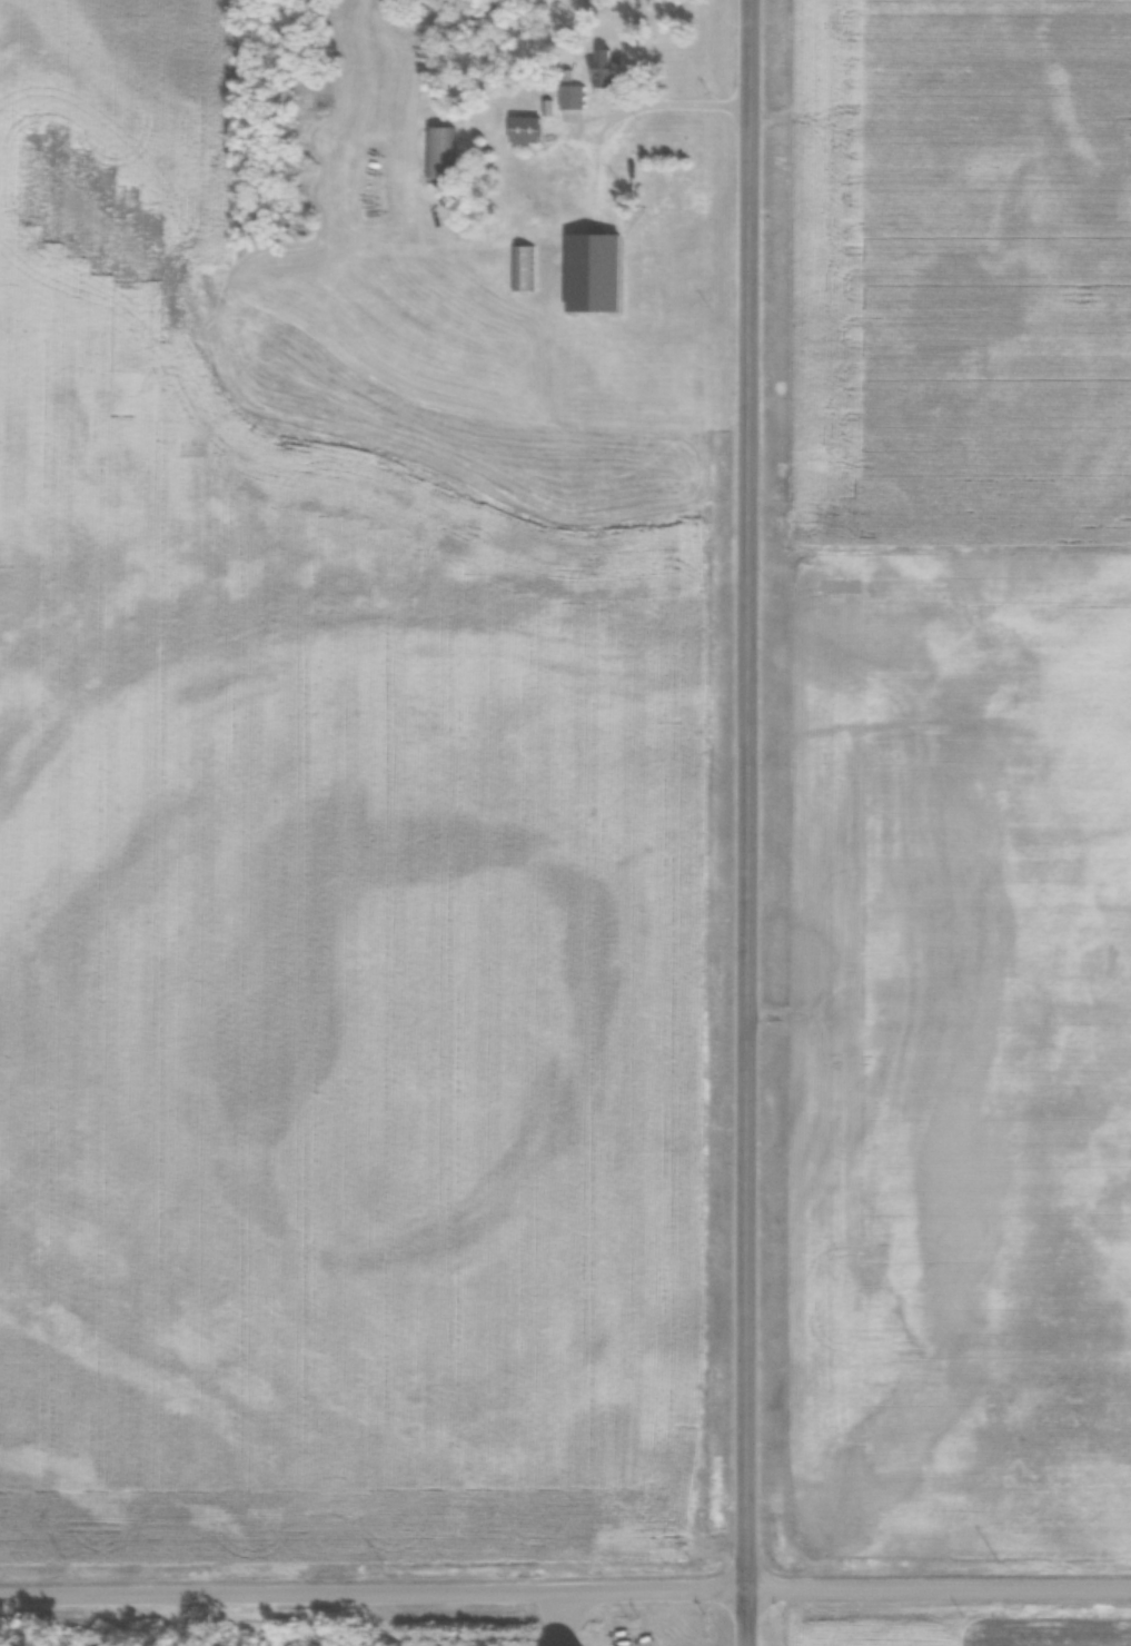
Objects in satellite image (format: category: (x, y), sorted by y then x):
building: (404, 22)
building: (603, 69)
building: (571, 99)
building: (525, 131)
building: (437, 152)
building: (535, 209)
building: (523, 270)
building: (595, 274)
road: (747, 822)
road: (565, 1595)
road: (547, 1620)
road: (182, 1622)

